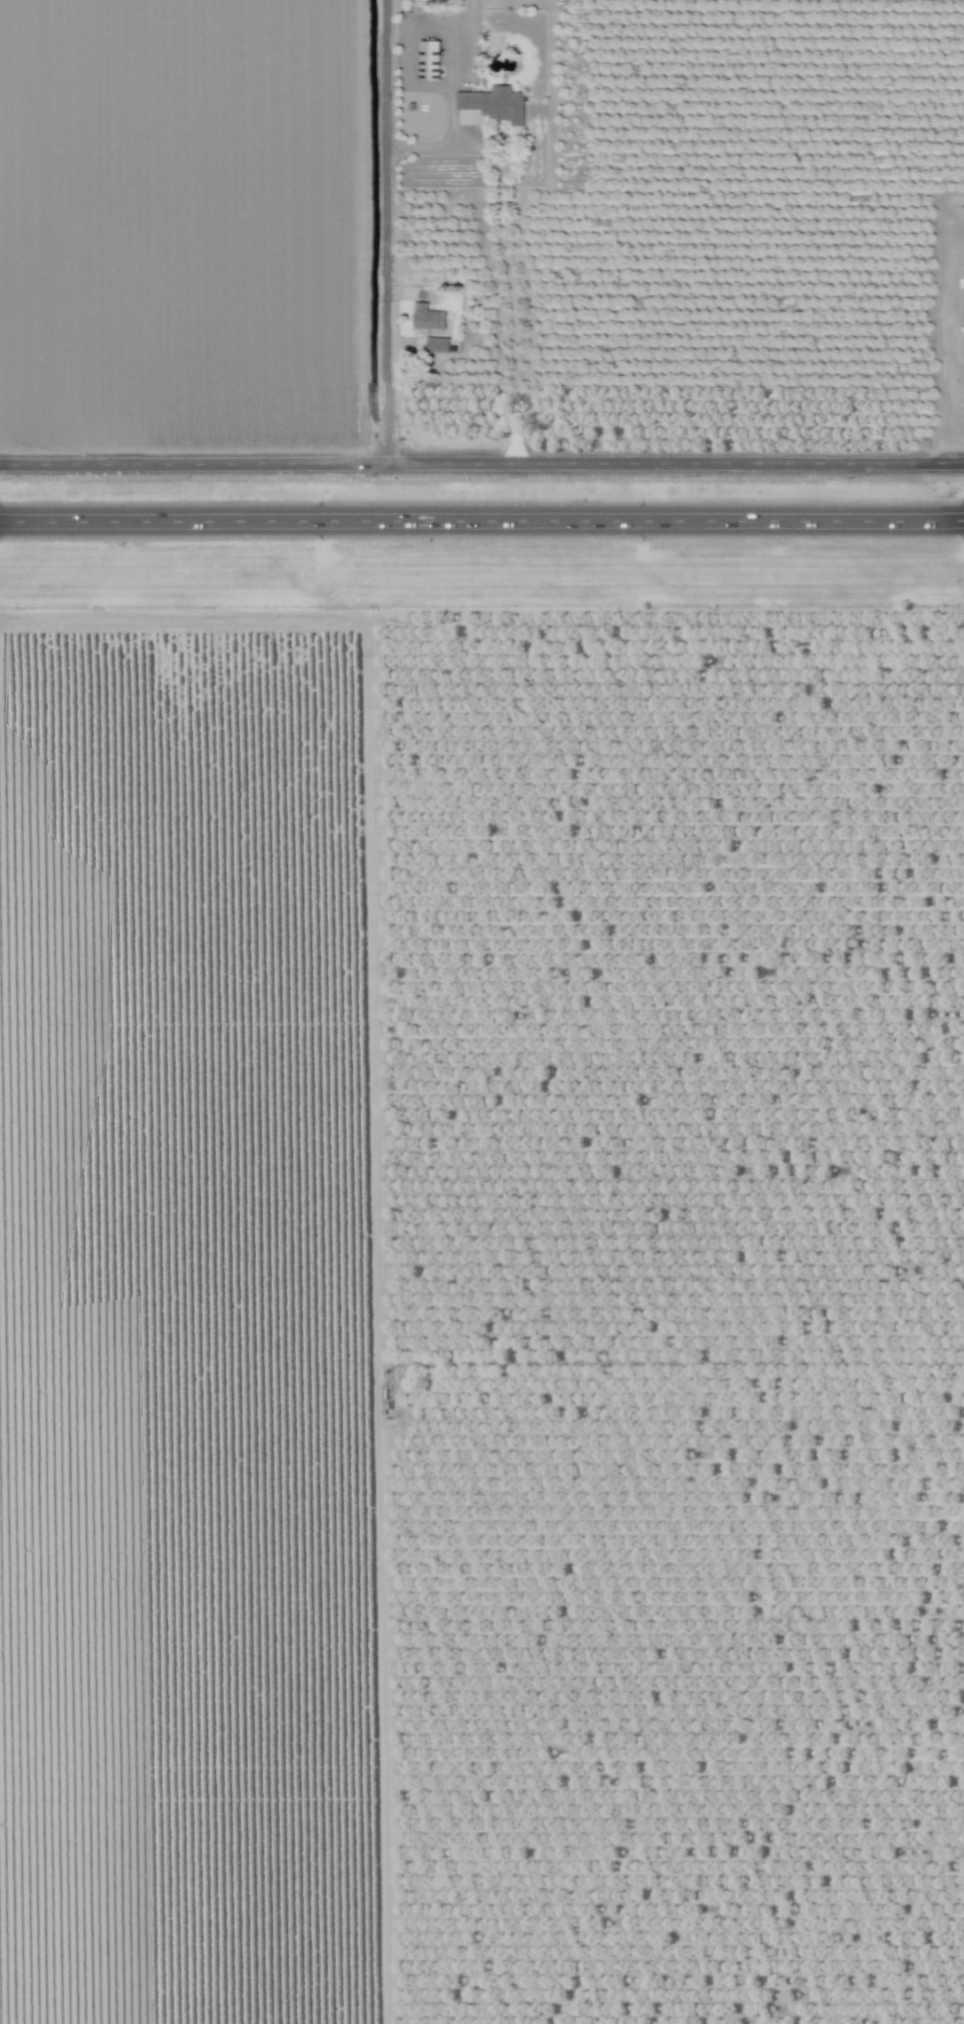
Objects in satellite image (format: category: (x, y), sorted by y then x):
building: (433, 62)
building: (497, 105)
road: (389, 235)
crop: (481, 245)
road: (517, 310)
building: (431, 319)
building: (422, 346)
road: (481, 462)
road: (482, 520)
crop: (482, 1303)

